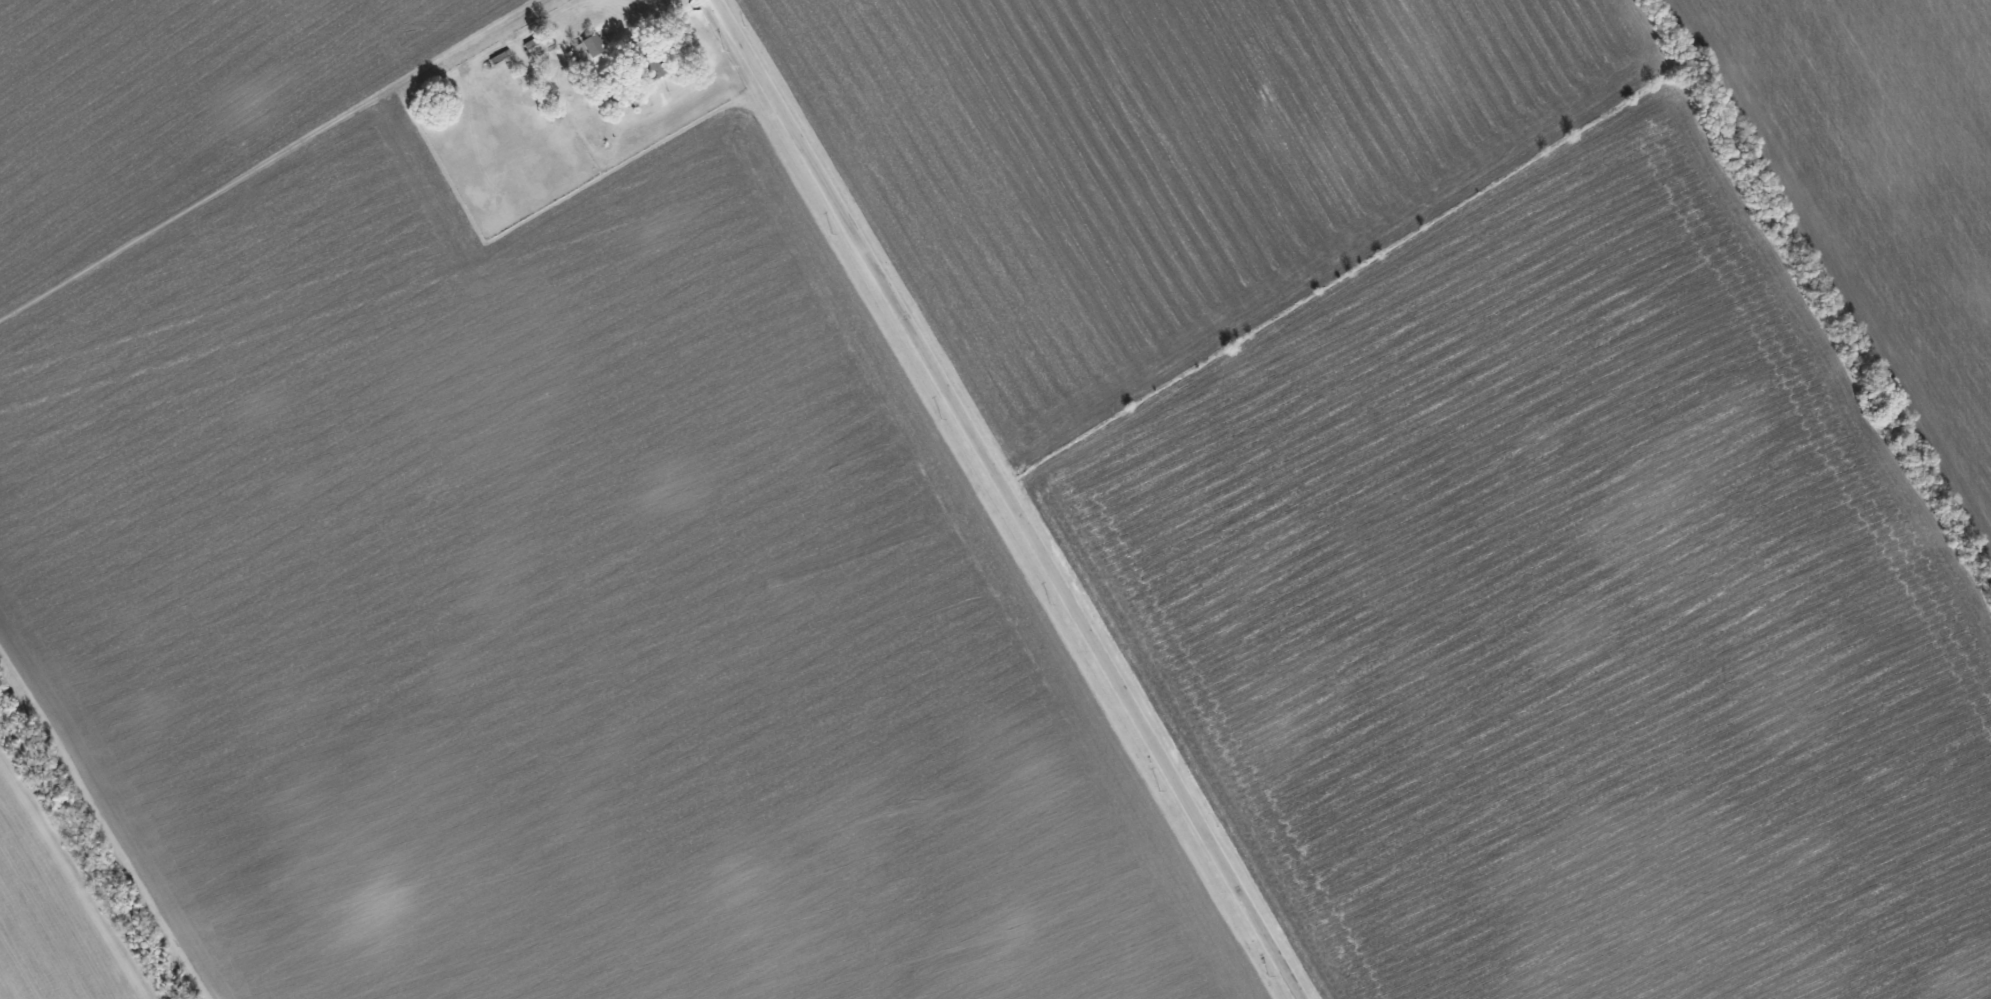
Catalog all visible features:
road: (652, 24)
building: (587, 48)
building: (649, 67)
road: (1011, 498)

